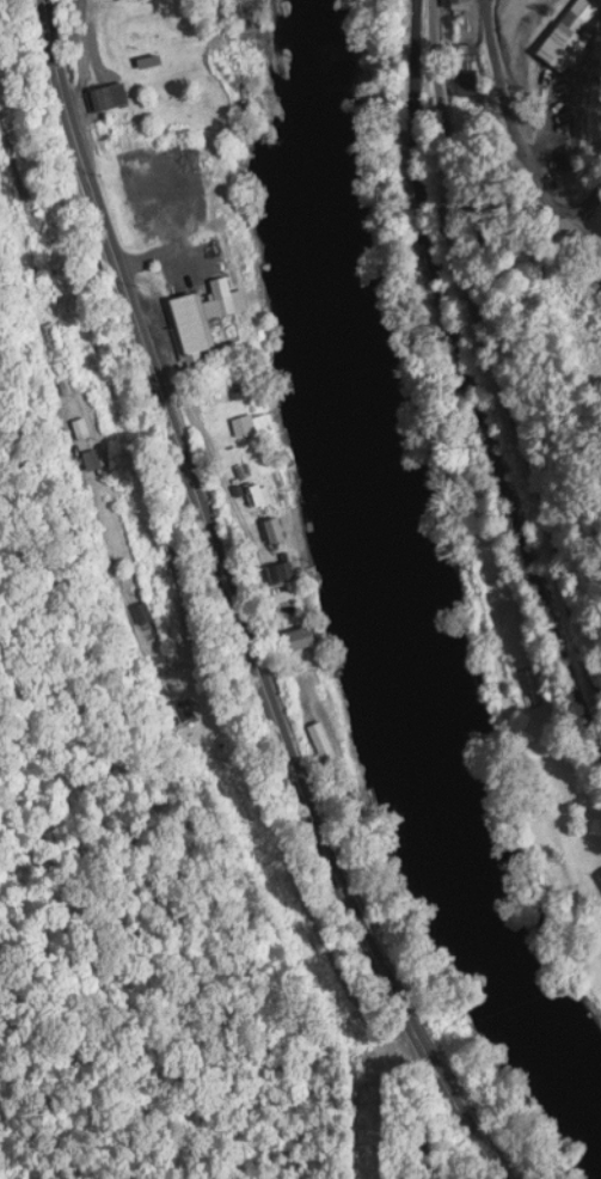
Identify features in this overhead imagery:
building: (458, 2)
road: (31, 12)
building: (108, 97)
building: (141, 172)
building: (207, 252)
road: (495, 320)
building: (194, 323)
road: (465, 348)
road: (465, 348)
building: (81, 427)
building: (92, 459)
building: (256, 494)
river: (366, 594)
road: (234, 605)
building: (142, 613)
building: (301, 637)
building: (184, 707)

